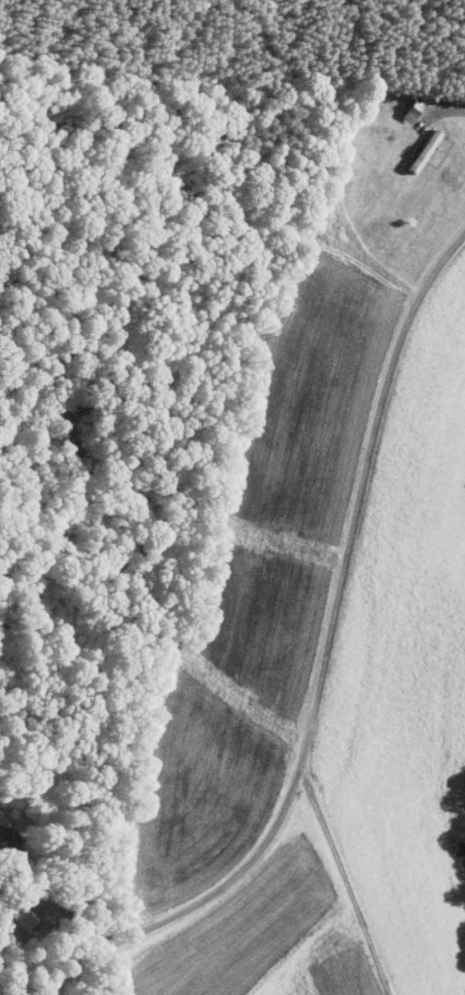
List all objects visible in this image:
road: (433, 104)
road: (323, 669)
road: (56, 908)
building: (11, 909)

